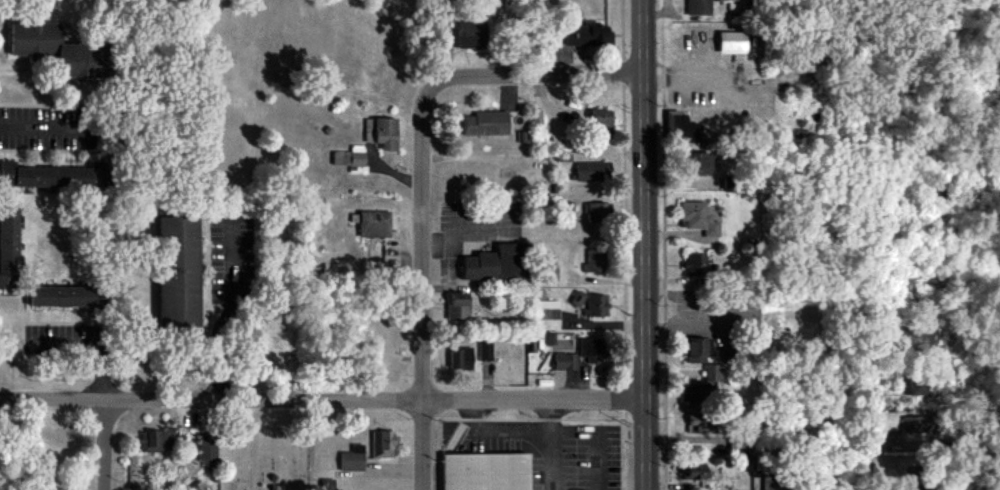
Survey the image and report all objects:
building: (699, 7)
building: (468, 34)
building: (587, 35)
building: (732, 42)
building: (53, 49)
road: (535, 76)
road: (695, 80)
building: (600, 119)
building: (484, 124)
road: (46, 128)
building: (682, 129)
building: (381, 133)
road: (474, 158)
building: (351, 159)
building: (697, 164)
building: (590, 171)
building: (6, 173)
building: (53, 178)
building: (596, 213)
building: (698, 219)
building: (374, 224)
road: (645, 244)
building: (7, 245)
building: (593, 261)
building: (695, 264)
building: (177, 272)
road: (422, 289)
building: (61, 297)
building: (595, 306)
building: (458, 307)
road: (230, 312)
building: (545, 315)
road: (92, 346)
building: (484, 350)
building: (592, 350)
building: (698, 351)
building: (460, 358)
building: (564, 361)
building: (713, 373)
building: (915, 385)
building: (690, 394)
road: (322, 402)
road: (871, 417)
building: (701, 423)
building: (915, 425)
building: (155, 440)
building: (382, 444)
road: (553, 445)
road: (107, 447)
building: (207, 448)
park: (266, 449)
building: (352, 459)
building: (486, 471)
building: (696, 472)
building: (770, 483)
building: (326, 484)

